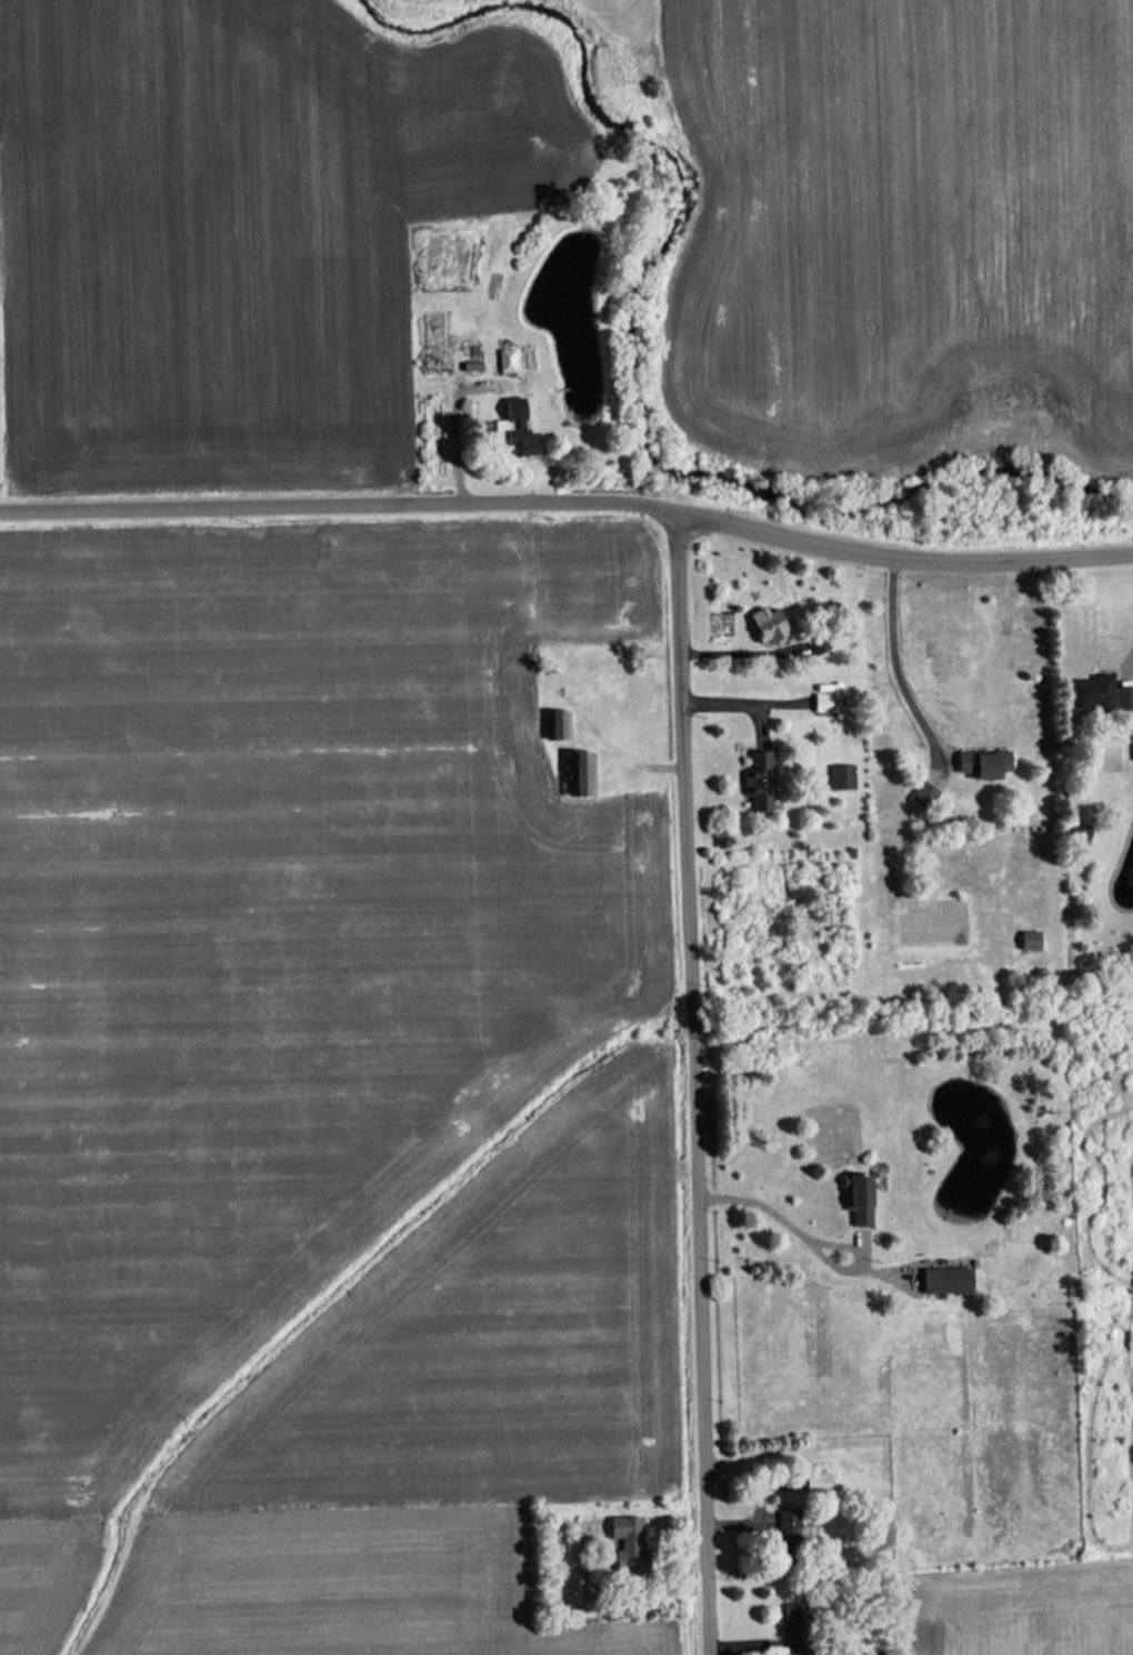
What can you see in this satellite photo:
crop: (400, 0)
crop: (623, 20)
crop: (908, 224)
crop: (237, 231)
building: (504, 360)
building: (517, 428)
road: (458, 438)
road: (338, 505)
road: (902, 558)
building: (769, 624)
road: (901, 663)
building: (1109, 692)
building: (825, 702)
road: (789, 703)
road: (734, 704)
building: (557, 724)
building: (1132, 731)
building: (985, 764)
building: (581, 773)
building: (841, 776)
building: (758, 781)
building: (923, 795)
crop: (277, 930)
building: (1030, 940)
road: (694, 1084)
building: (858, 1200)
road: (778, 1208)
building: (946, 1280)
crop: (482, 1340)
building: (818, 1483)
building: (788, 1525)
building: (626, 1541)
crop: (31, 1573)
crop: (347, 1587)
crop: (1024, 1611)
building: (795, 1629)
building: (871, 1653)

